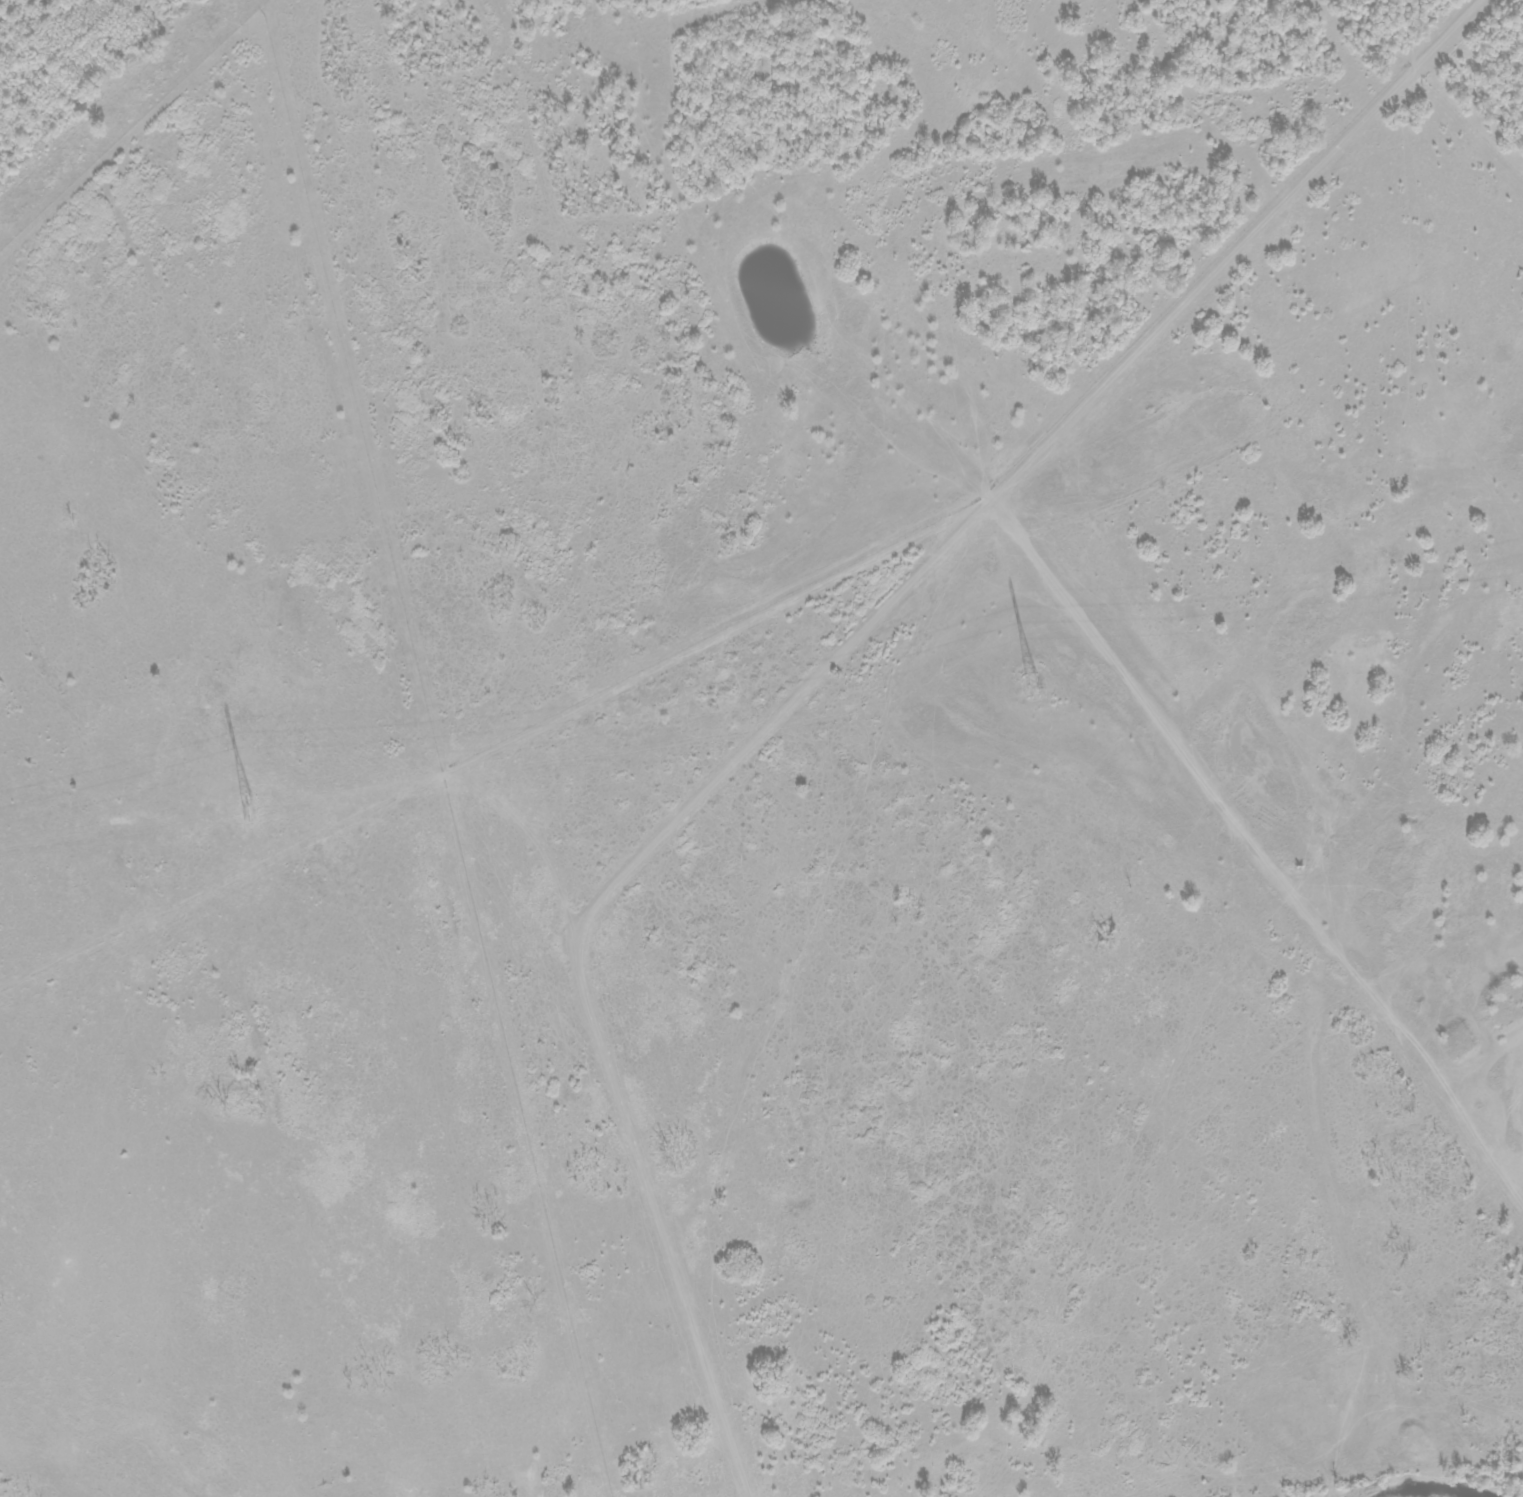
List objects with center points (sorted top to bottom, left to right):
road: (851, 685)
power tower: (1032, 686)
power tower: (249, 808)

